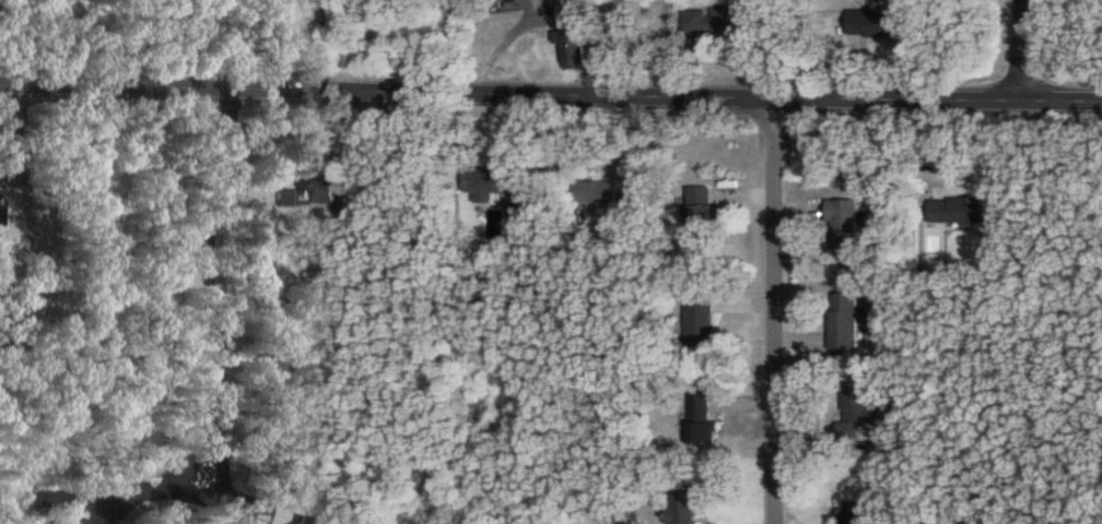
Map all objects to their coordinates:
building: (567, 11)
building: (715, 17)
building: (874, 21)
road: (145, 40)
road: (265, 40)
road: (362, 44)
road: (438, 44)
building: (571, 46)
road: (1024, 48)
road: (550, 91)
building: (5, 172)
building: (595, 191)
building: (310, 192)
building: (958, 207)
building: (700, 213)
building: (843, 225)
road: (771, 310)
road: (216, 315)
building: (699, 320)
building: (844, 320)
building: (856, 417)
building: (702, 418)
road: (224, 479)
building: (683, 508)
building: (859, 512)

